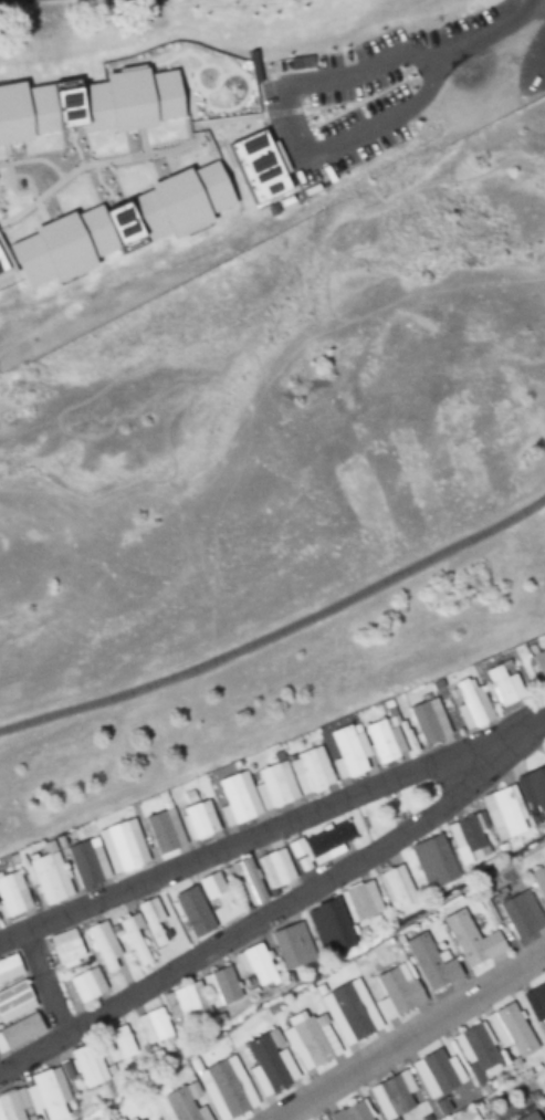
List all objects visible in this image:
road: (67, 145)
road: (283, 171)
building: (7, 249)
park: (276, 485)
road: (281, 631)
building: (544, 640)
building: (541, 660)
building: (504, 683)
building: (472, 703)
building: (429, 721)
building: (366, 745)
building: (313, 771)
building: (275, 786)
building: (533, 787)
building: (238, 799)
building: (504, 812)
building: (199, 820)
building: (161, 833)
building: (467, 839)
road: (241, 841)
building: (318, 845)
building: (123, 846)
building: (434, 861)
building: (87, 862)
building: (275, 868)
building: (50, 876)
building: (539, 880)
building: (251, 881)
building: (397, 887)
building: (12, 894)
road: (282, 902)
building: (361, 903)
building: (522, 913)
building: (153, 920)
building: (325, 921)
building: (135, 940)
building: (472, 940)
building: (292, 946)
building: (104, 948)
building: (66, 949)
building: (432, 963)
building: (256, 964)
building: (8, 966)
road: (53, 978)
building: (87, 985)
building: (221, 987)
building: (398, 988)
building: (536, 1001)
building: (14, 1002)
building: (187, 1002)
building: (350, 1012)
building: (154, 1026)
building: (511, 1029)
building: (22, 1032)
road: (410, 1035)
building: (311, 1039)
building: (119, 1044)
building: (474, 1047)
building: (270, 1063)
building: (88, 1066)
building: (437, 1072)
building: (226, 1088)
building: (392, 1095)
building: (36, 1099)
building: (184, 1105)
building: (352, 1112)
building: (530, 1117)

